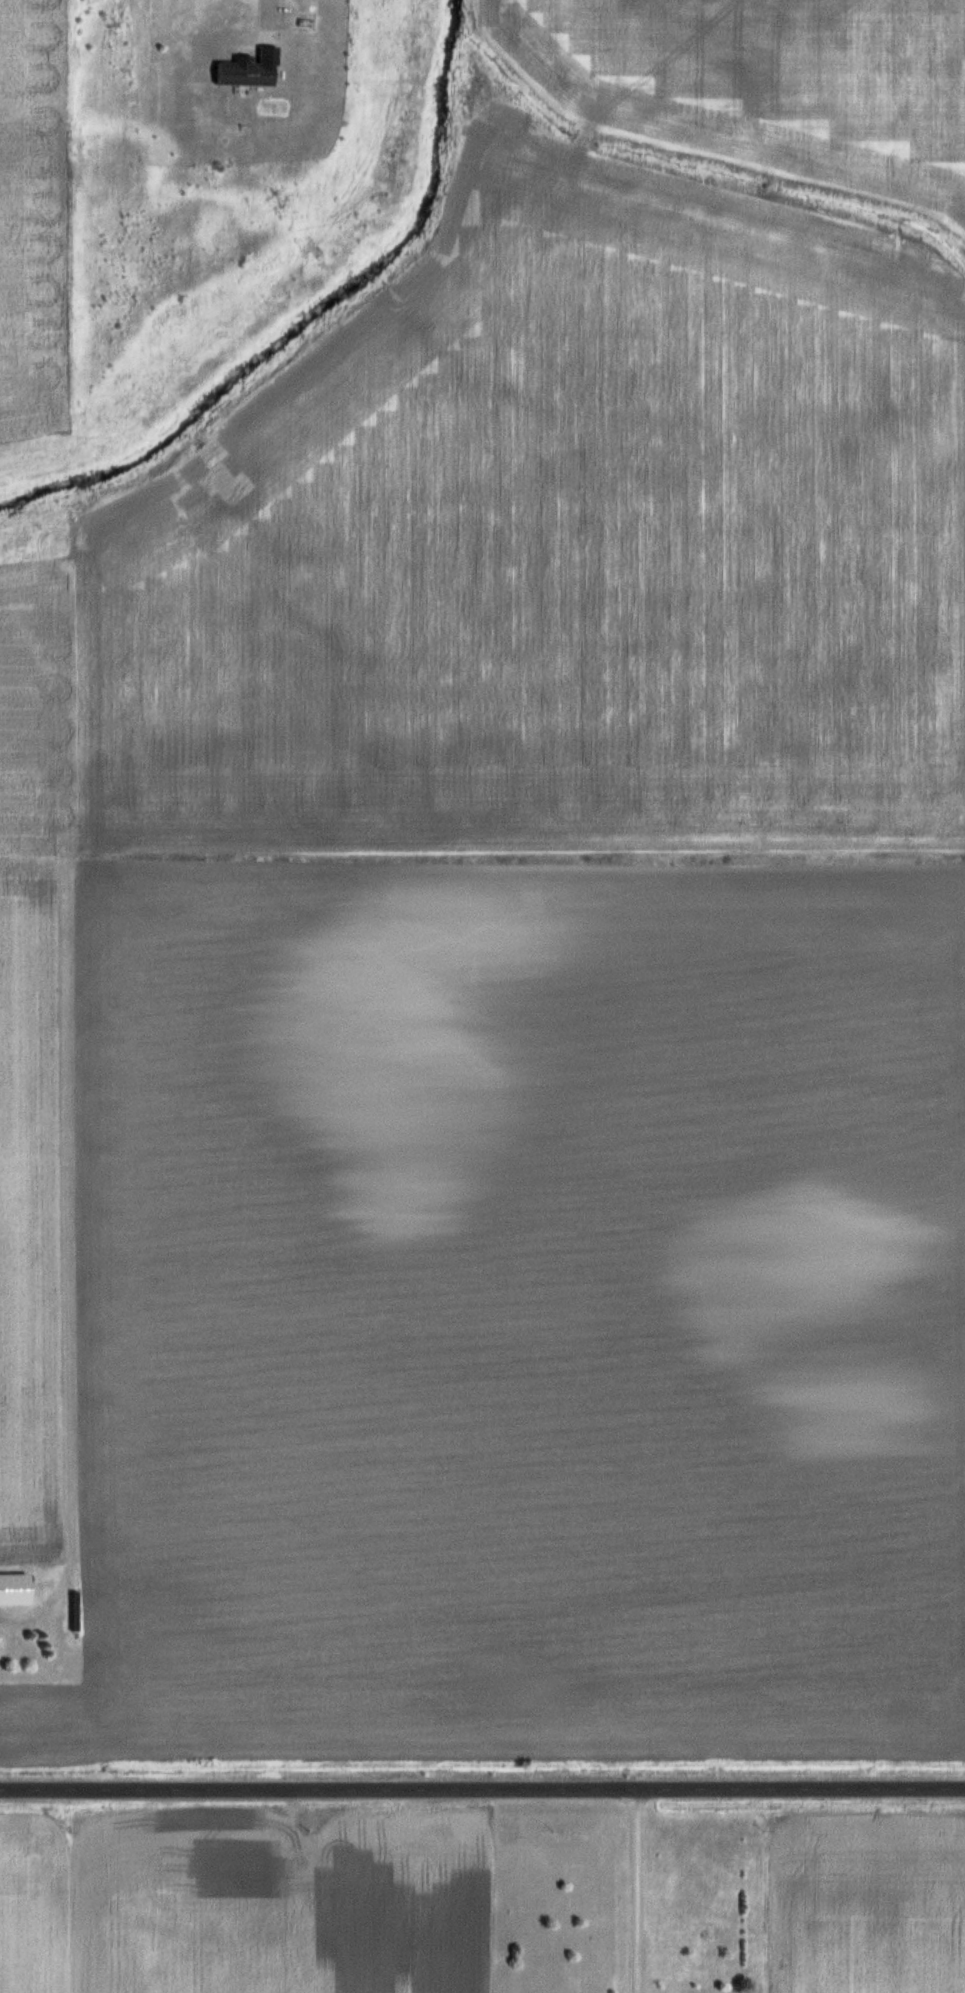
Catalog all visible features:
road: (264, 9)
building: (705, 33)
building: (252, 68)
building: (16, 1589)
road: (482, 1788)
road: (635, 1890)

